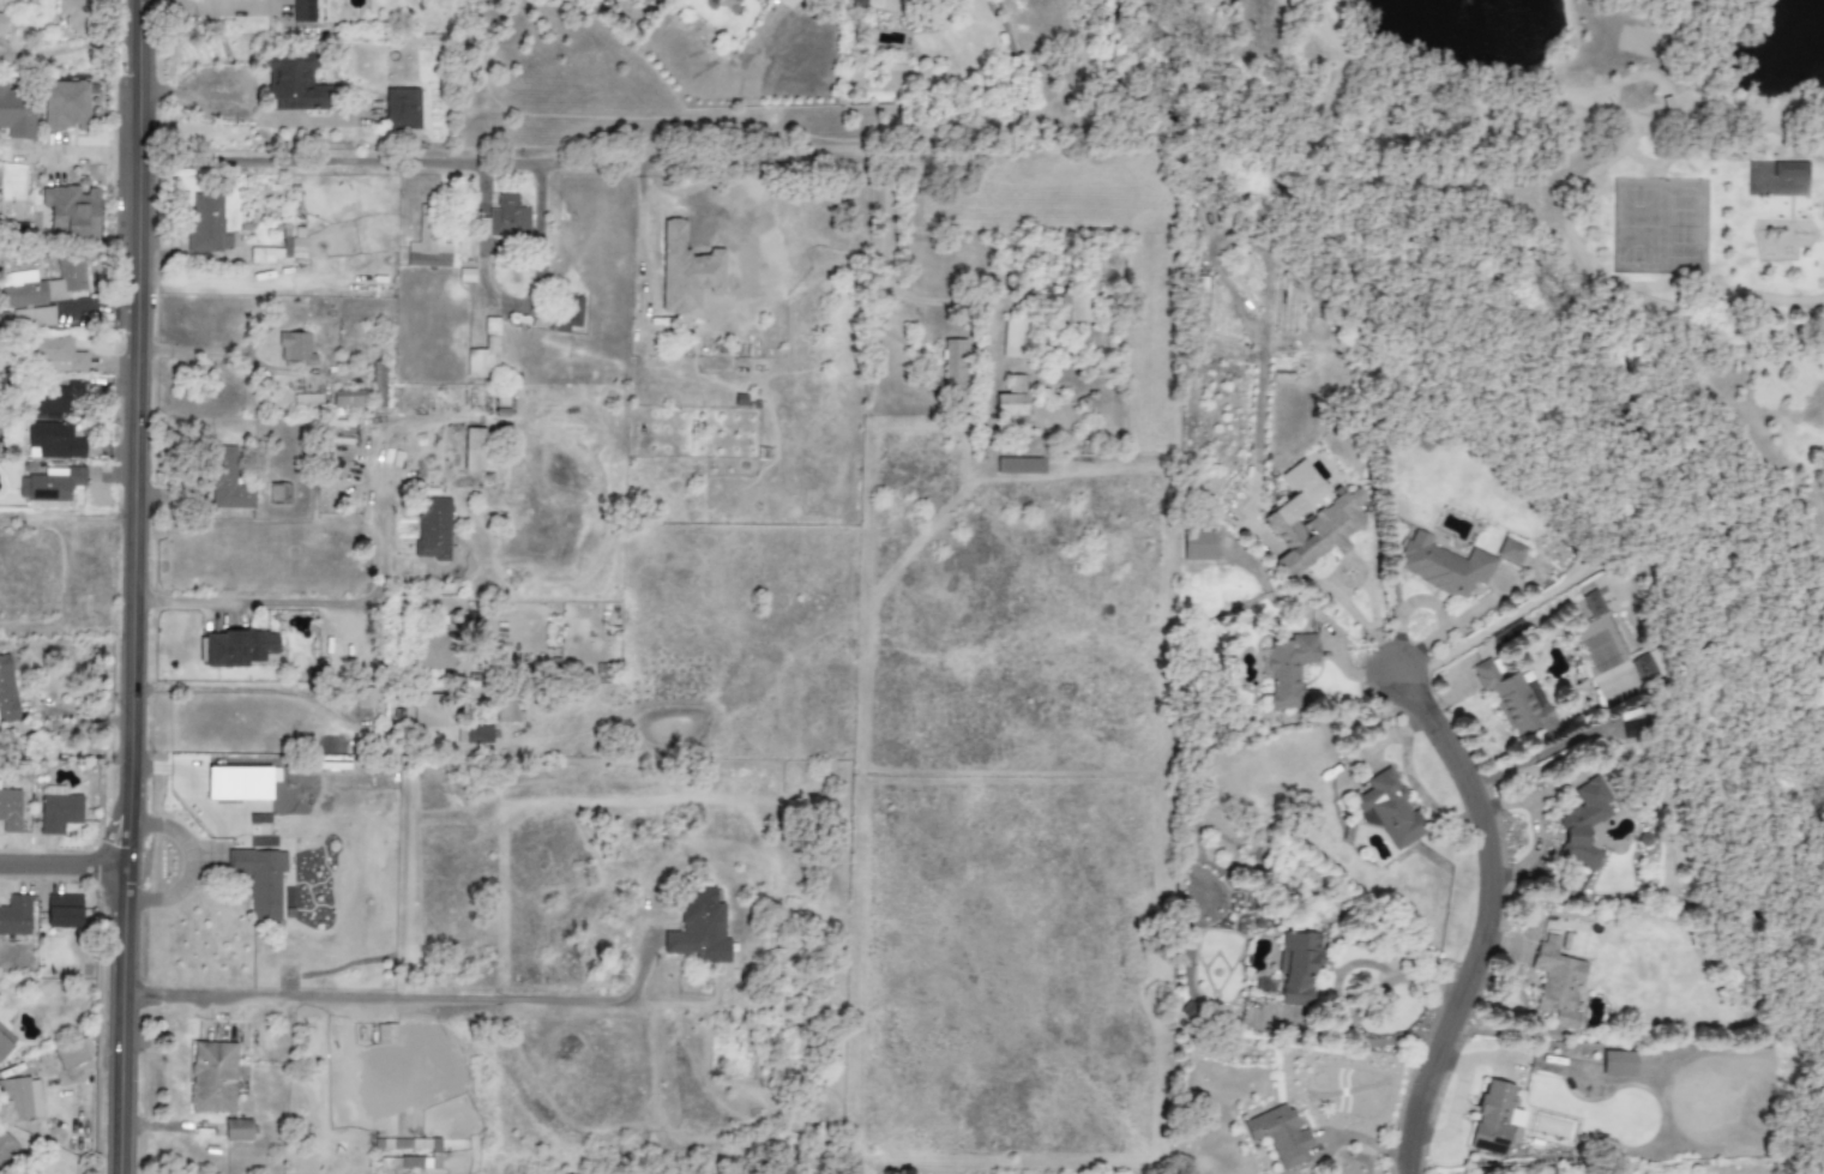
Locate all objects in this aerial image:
building: (857, 2)
road: (201, 5)
building: (302, 11)
building: (77, 16)
building: (1, 23)
building: (293, 84)
road: (1578, 91)
building: (64, 106)
road: (243, 108)
building: (402, 109)
building: (16, 114)
road: (79, 151)
road: (662, 161)
building: (1789, 170)
building: (0, 179)
building: (71, 210)
building: (505, 219)
building: (206, 224)
building: (429, 243)
building: (465, 246)
building: (279, 249)
building: (685, 270)
building: (43, 283)
building: (1072, 307)
road: (517, 308)
building: (567, 313)
building: (32, 318)
building: (1013, 339)
building: (294, 349)
building: (484, 353)
building: (56, 354)
building: (955, 366)
building: (59, 399)
building: (350, 399)
building: (1011, 403)
building: (55, 440)
building: (476, 450)
building: (1019, 465)
building: (225, 478)
building: (50, 484)
building: (278, 493)
building: (1310, 519)
building: (432, 528)
building: (1198, 546)
building: (1510, 550)
building: (1443, 566)
road: (130, 586)
road: (278, 602)
building: (1593, 603)
building: (235, 648)
building: (432, 651)
building: (1287, 668)
road: (243, 690)
building: (7, 692)
building: (365, 698)
building: (1513, 700)
building: (429, 710)
building: (507, 712)
building: (474, 734)
building: (237, 783)
building: (58, 809)
building: (1387, 809)
building: (10, 811)
building: (1583, 823)
road: (189, 865)
road: (62, 869)
building: (260, 879)
building: (62, 911)
building: (16, 916)
road: (1479, 920)
building: (699, 928)
building: (1299, 967)
building: (1558, 983)
road: (405, 997)
road: (1358, 1007)
building: (386, 1034)
building: (5, 1042)
building: (72, 1052)
building: (1618, 1064)
building: (211, 1077)
building: (19, 1098)
building: (1495, 1119)
building: (236, 1130)
building: (1280, 1136)
building: (7, 1150)
building: (434, 1154)
road: (844, 1161)

